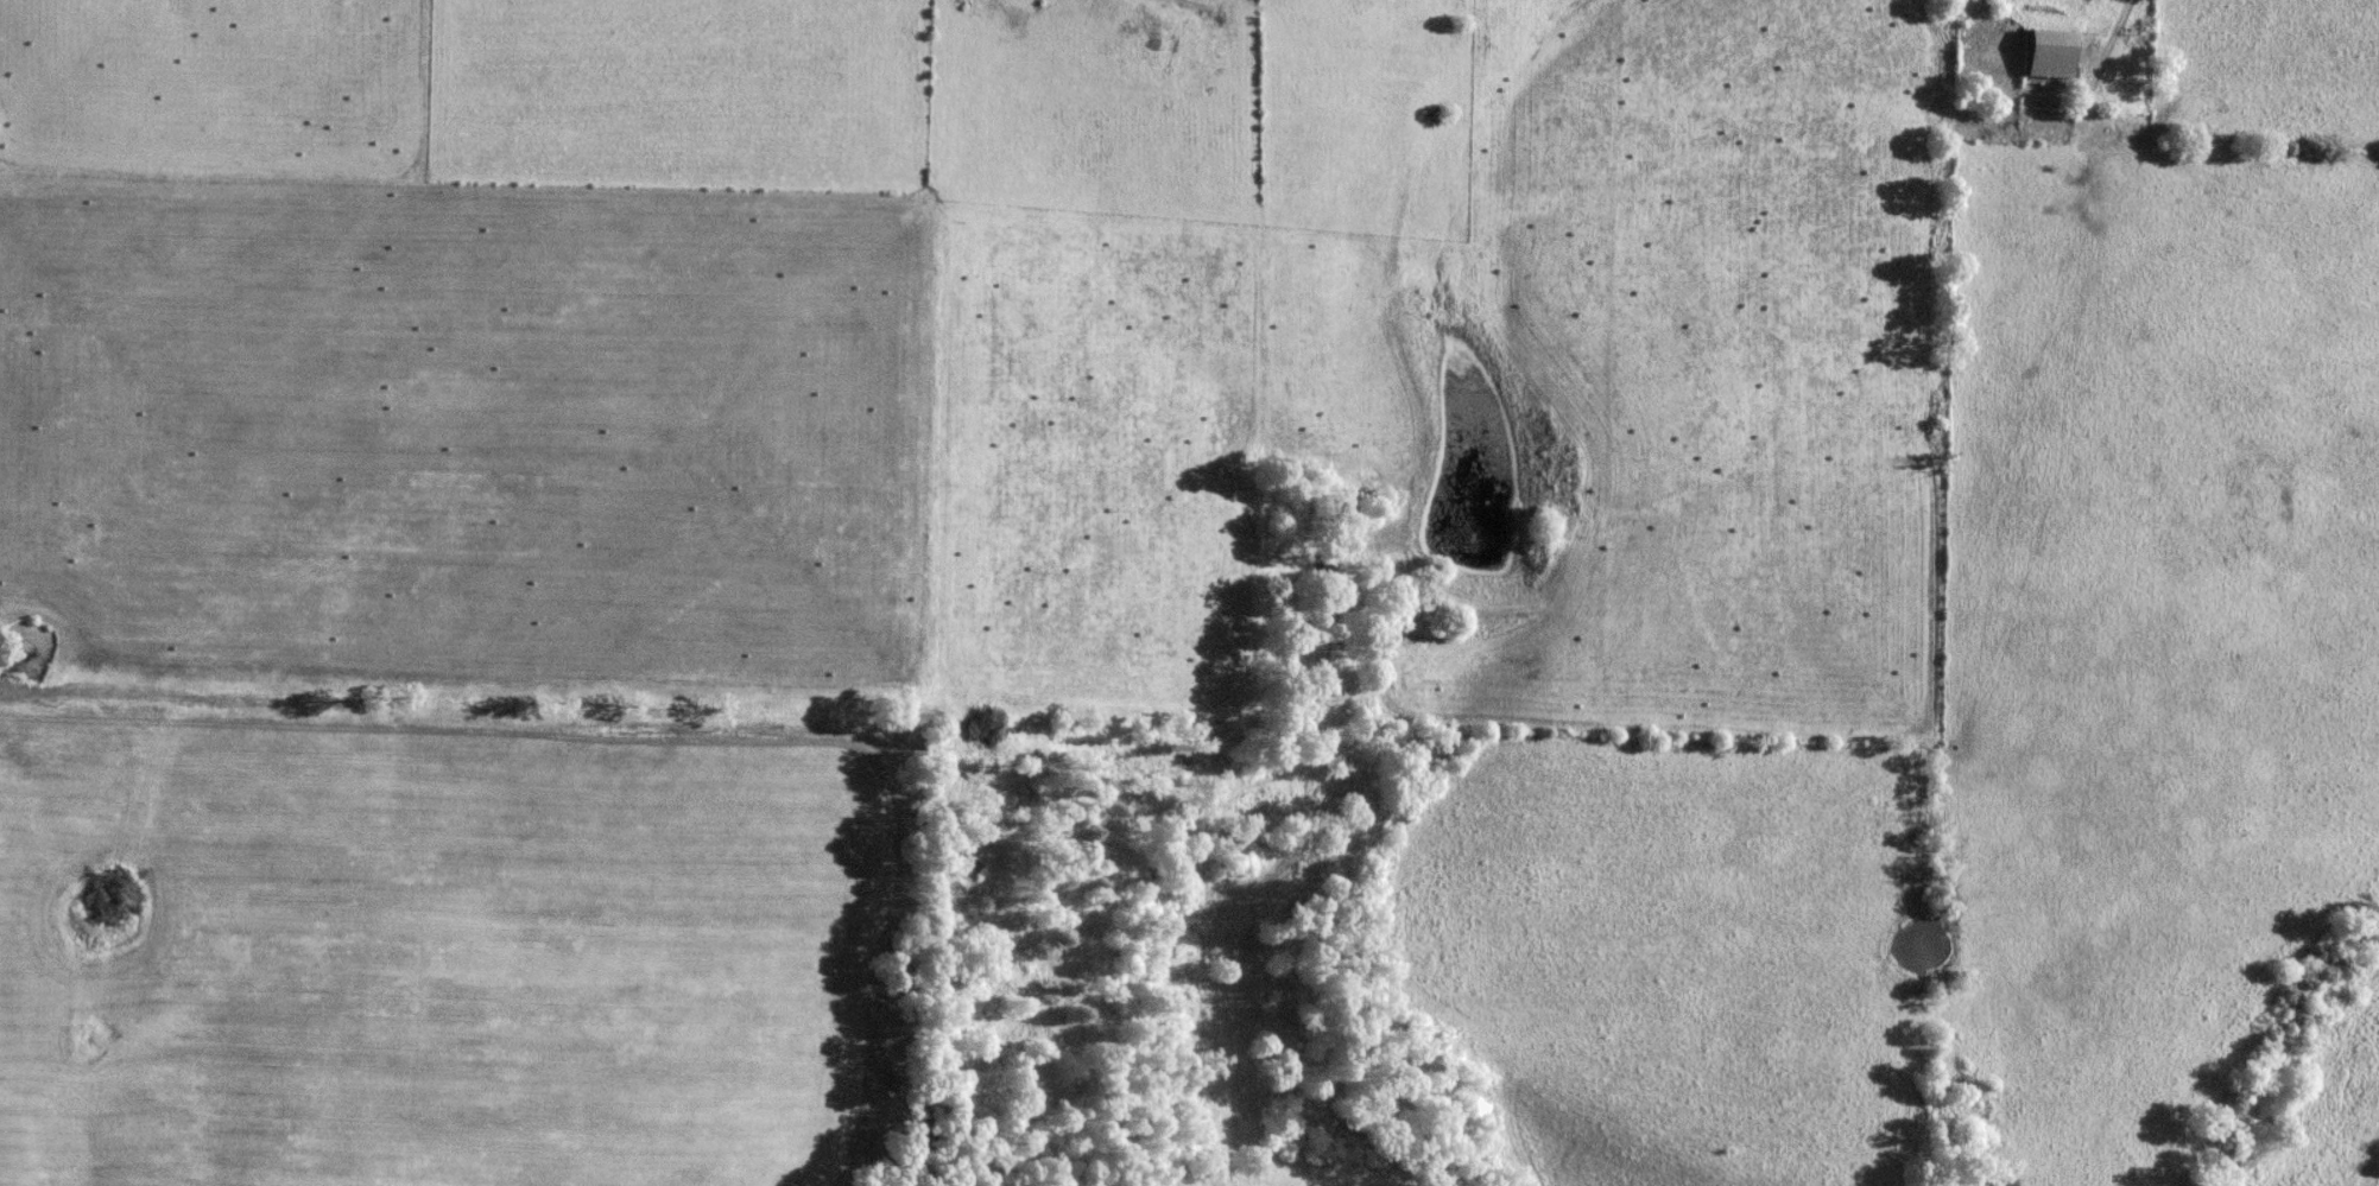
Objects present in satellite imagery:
road: (2113, 36)
building: (2046, 52)

